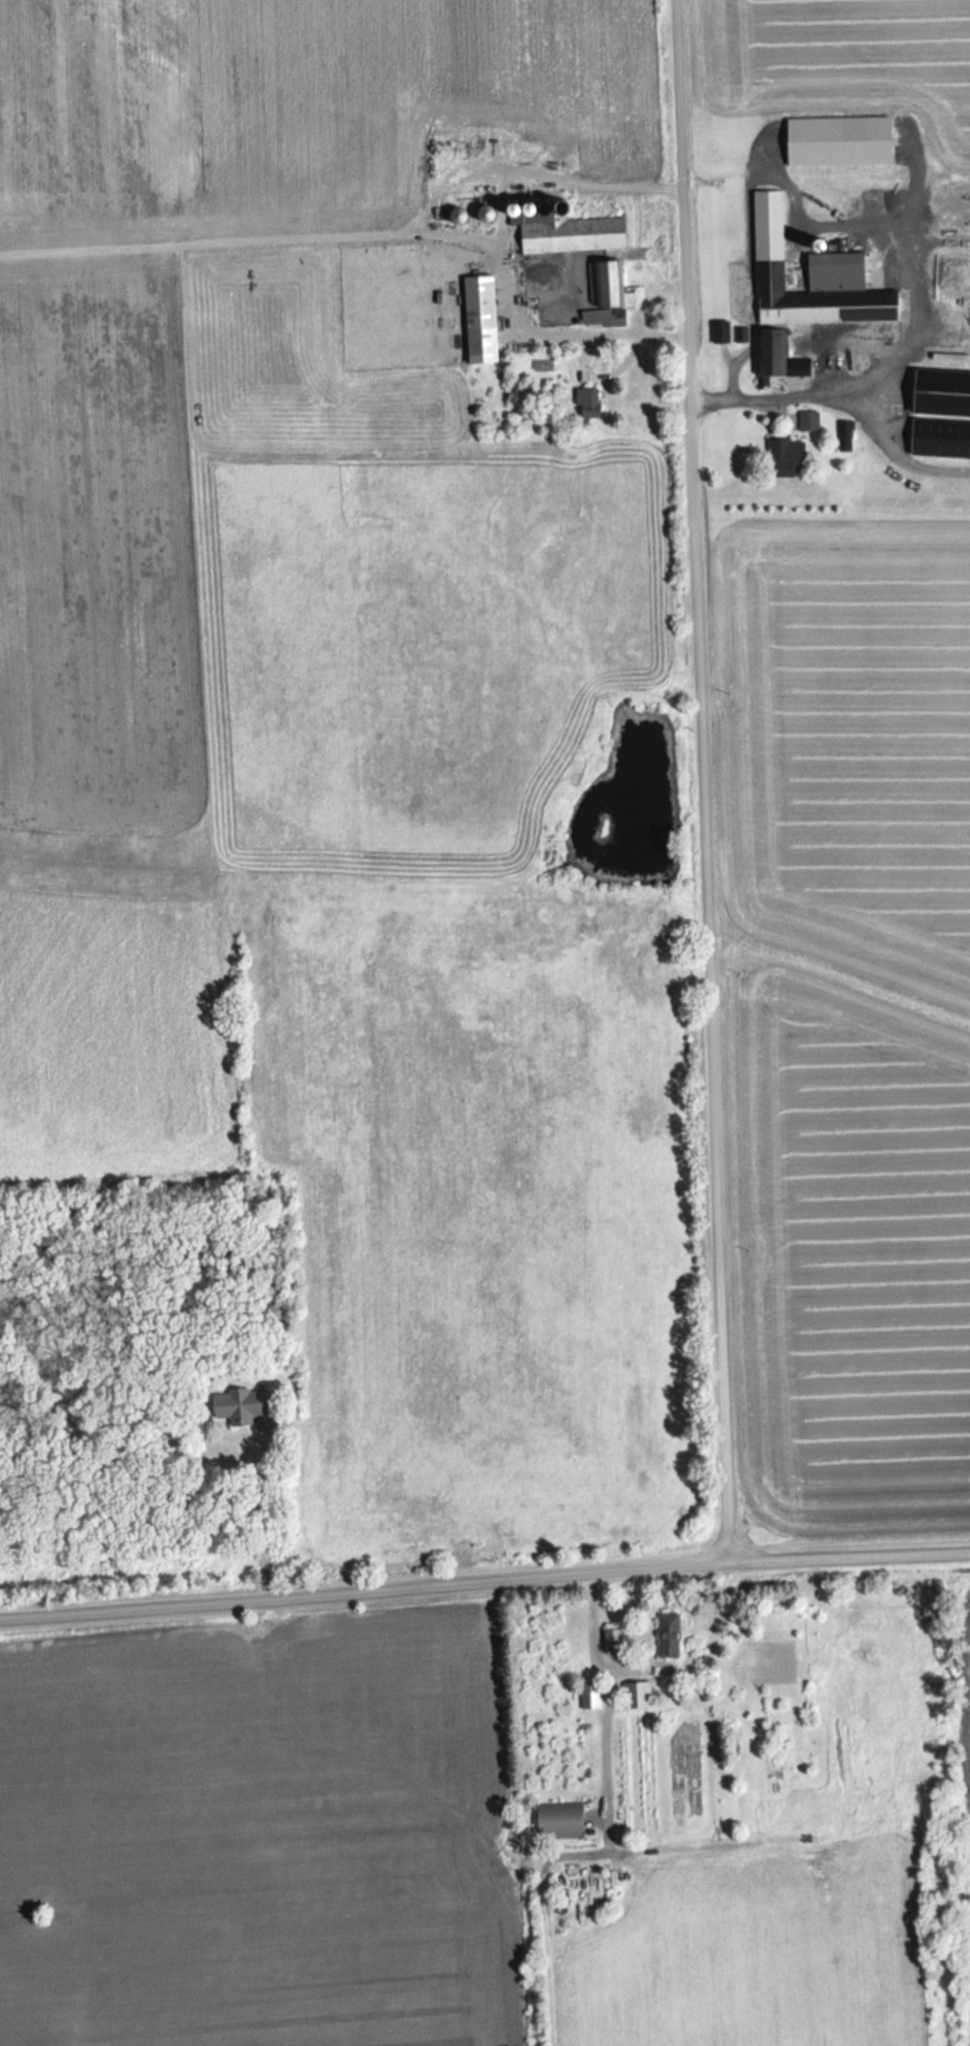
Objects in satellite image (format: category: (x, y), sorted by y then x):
building: (574, 232)
building: (838, 262)
building: (610, 284)
building: (820, 300)
building: (605, 315)
building: (483, 318)
building: (722, 330)
building: (785, 352)
building: (591, 402)
building: (942, 412)
building: (789, 456)
road: (699, 781)
building: (242, 1404)
road: (484, 1574)
building: (670, 1635)
building: (614, 1640)
building: (638, 1692)
road: (607, 1694)
building: (592, 1696)
building: (562, 1819)

